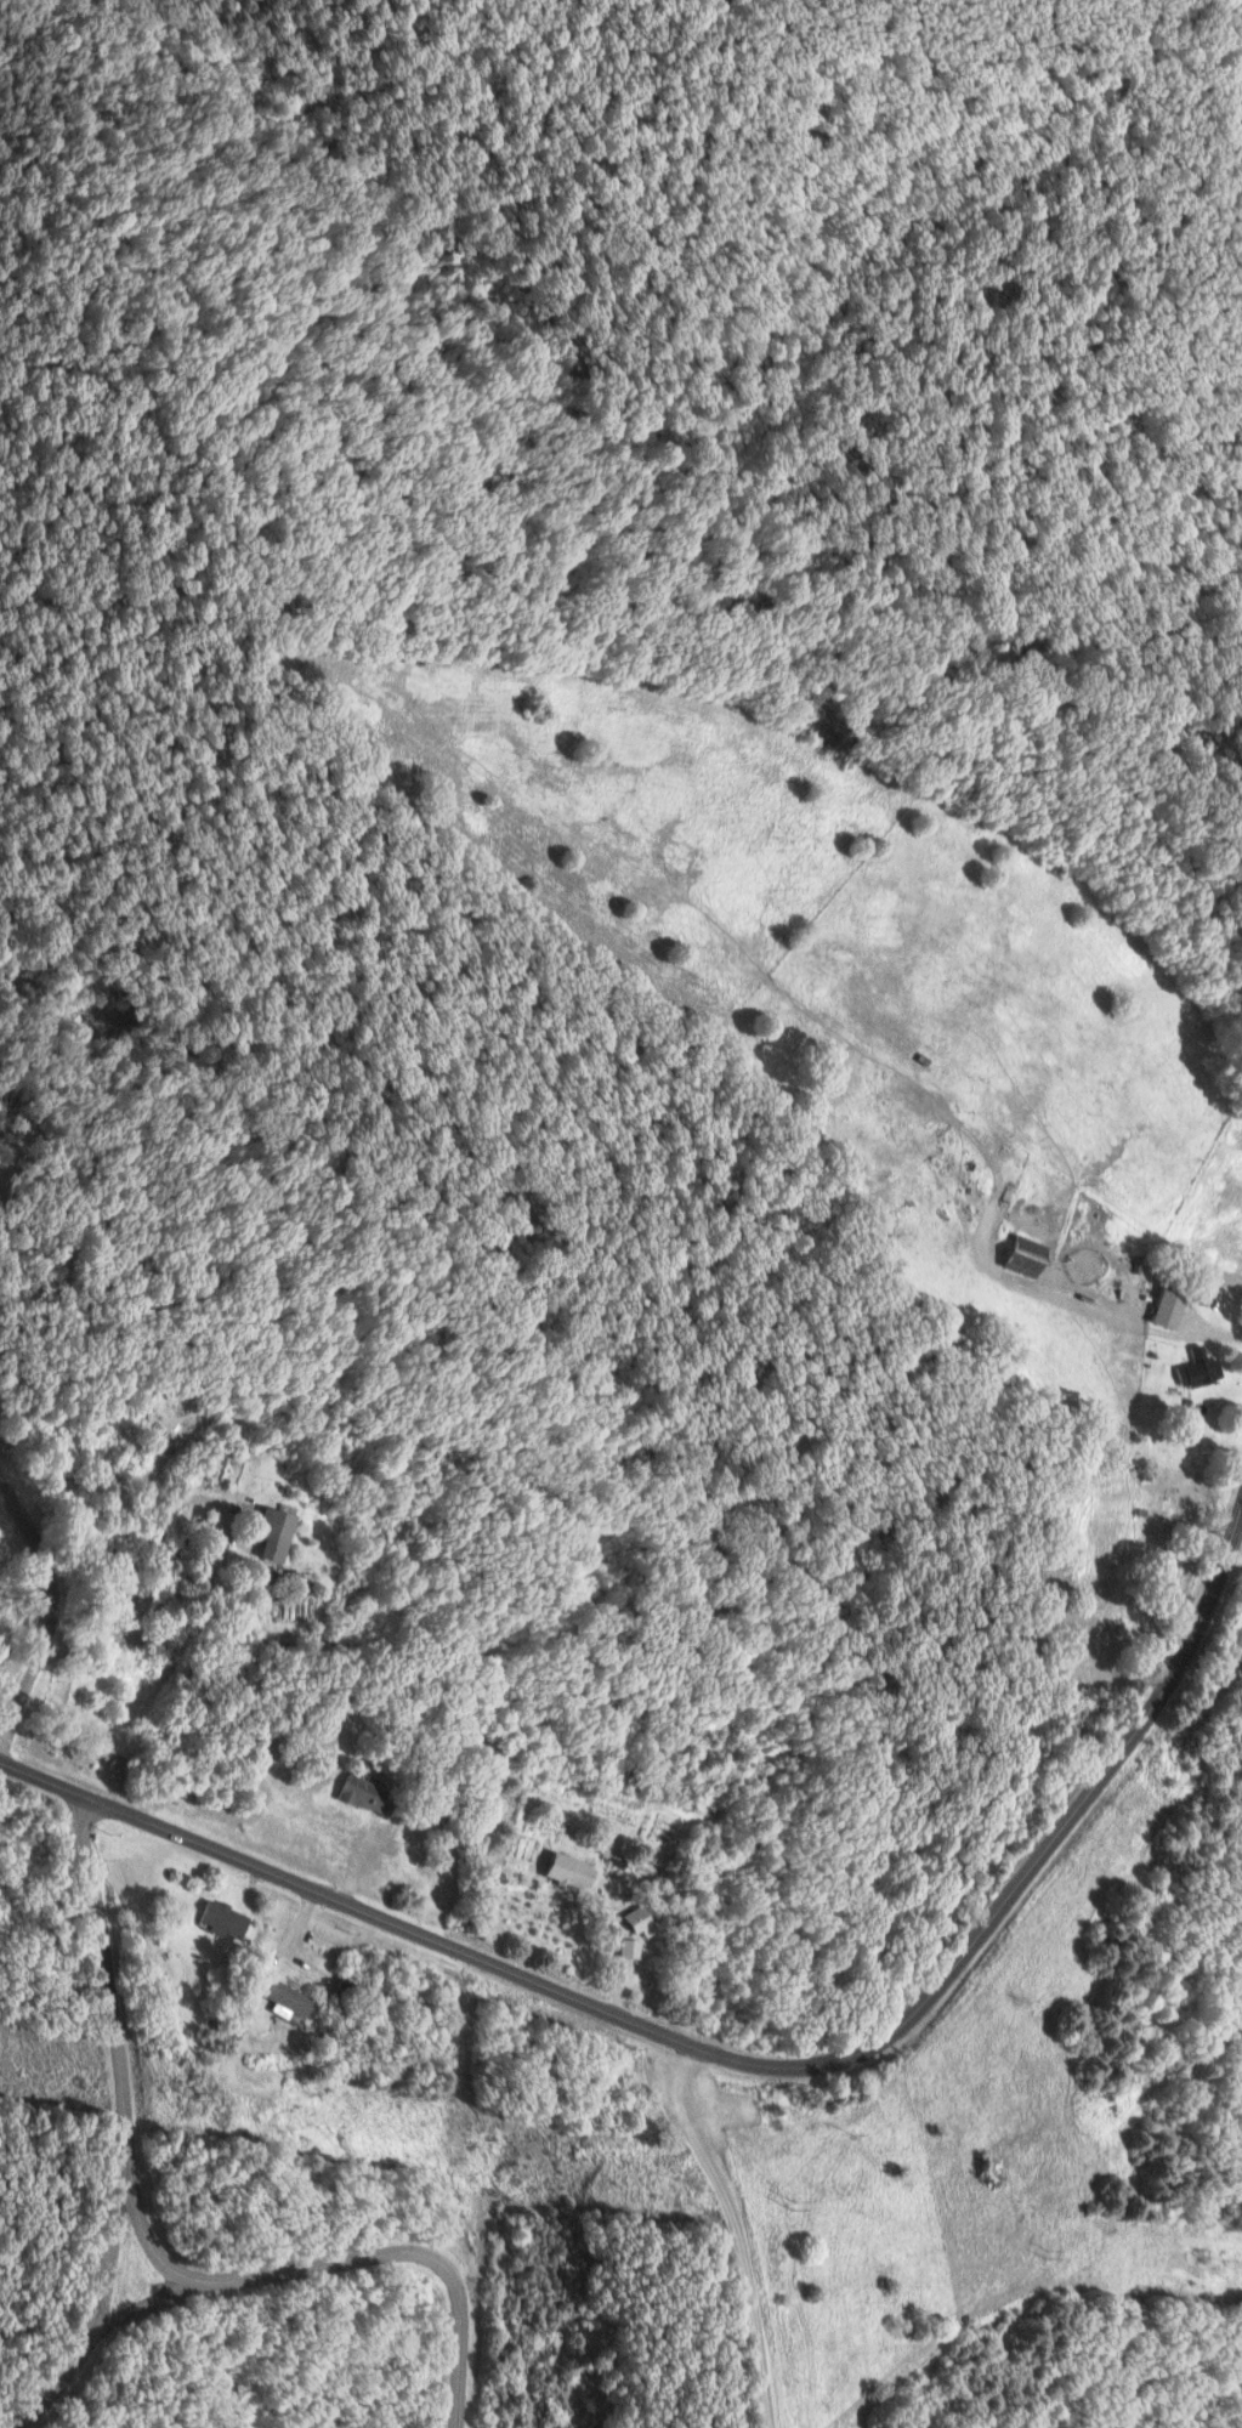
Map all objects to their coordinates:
building: (1020, 1256)
building: (1162, 1310)
road: (1115, 1322)
building: (1193, 1369)
building: (279, 1532)
road: (1232, 1548)
road: (149, 1596)
road: (46, 1609)
road: (1206, 1677)
road: (40, 1781)
building: (373, 1796)
building: (577, 1872)
building: (223, 1921)
building: (642, 1922)
road: (282, 1941)
building: (631, 1948)
building: (291, 1998)
road: (787, 2066)
power tower: (210, 2100)
power tower: (796, 2208)
road: (731, 2231)
power tower: (1047, 2256)
power tower: (1219, 2267)
road: (153, 2270)
road: (90, 2314)
road: (134, 2318)

